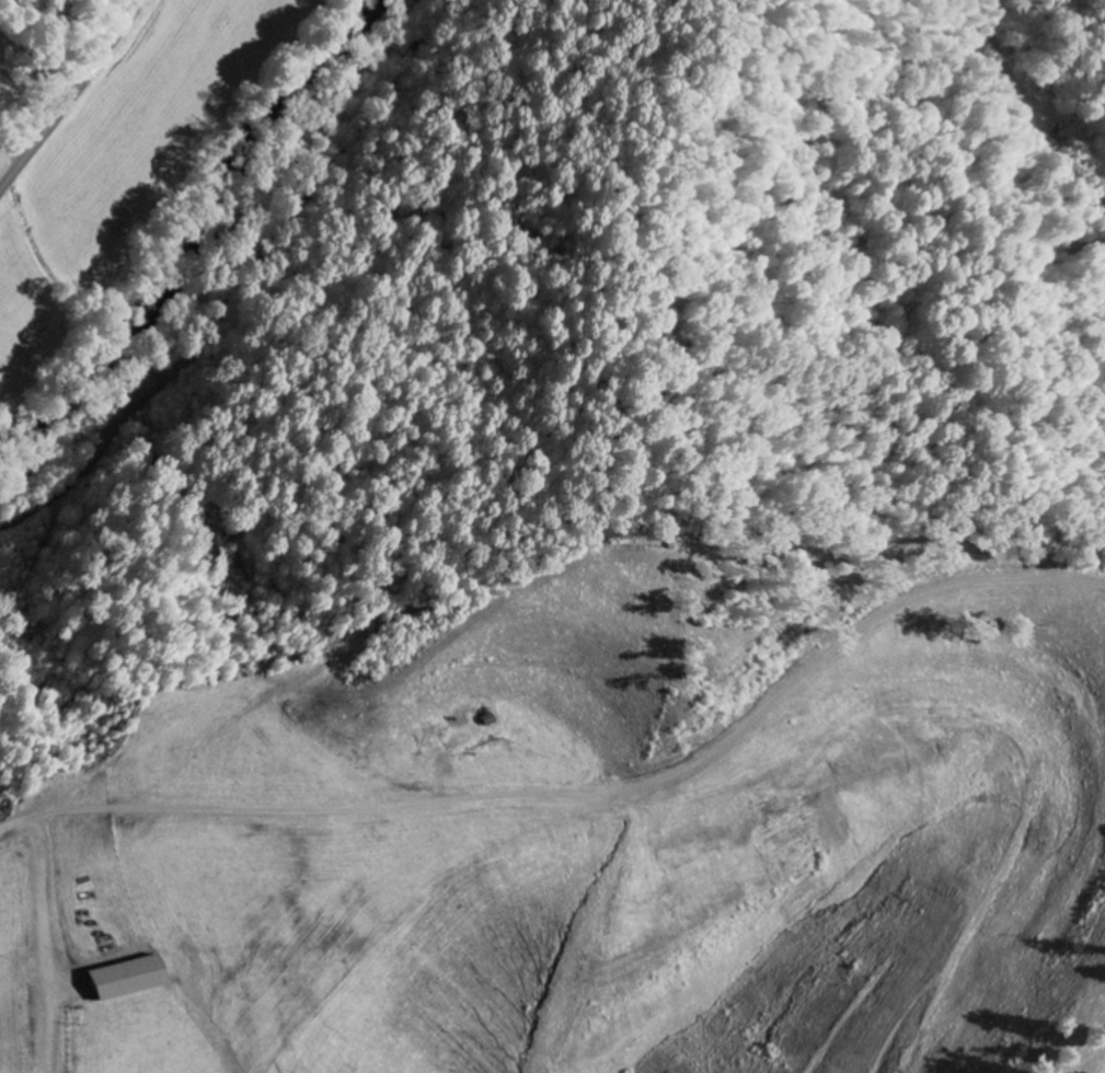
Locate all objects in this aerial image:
road: (74, 97)
river: (191, 231)
building: (127, 978)

